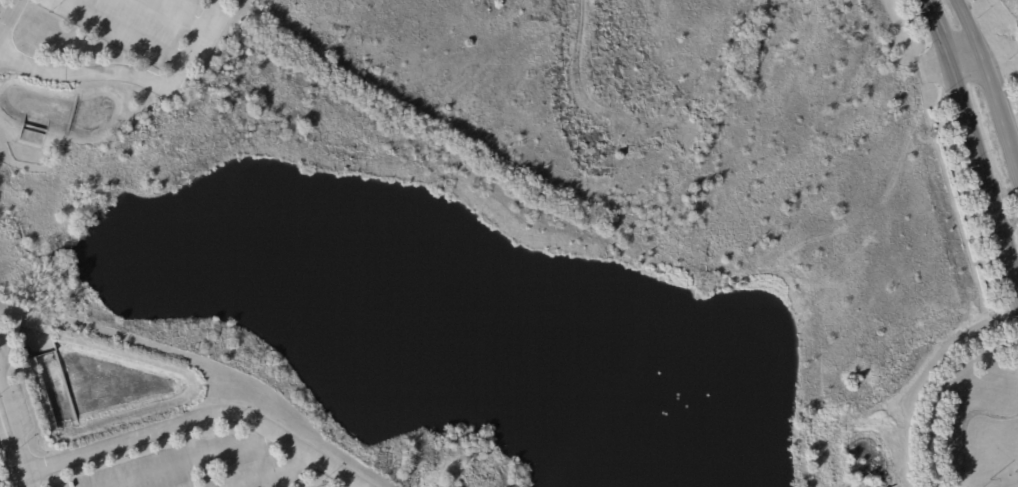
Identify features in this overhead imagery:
road: (176, 14)
road: (9, 17)
road: (126, 31)
road: (965, 59)
road: (133, 76)
road: (989, 85)
road: (974, 138)
road: (3, 353)
road: (190, 420)
road: (15, 434)
road: (182, 459)
road: (7, 462)
road: (203, 470)
road: (267, 476)

